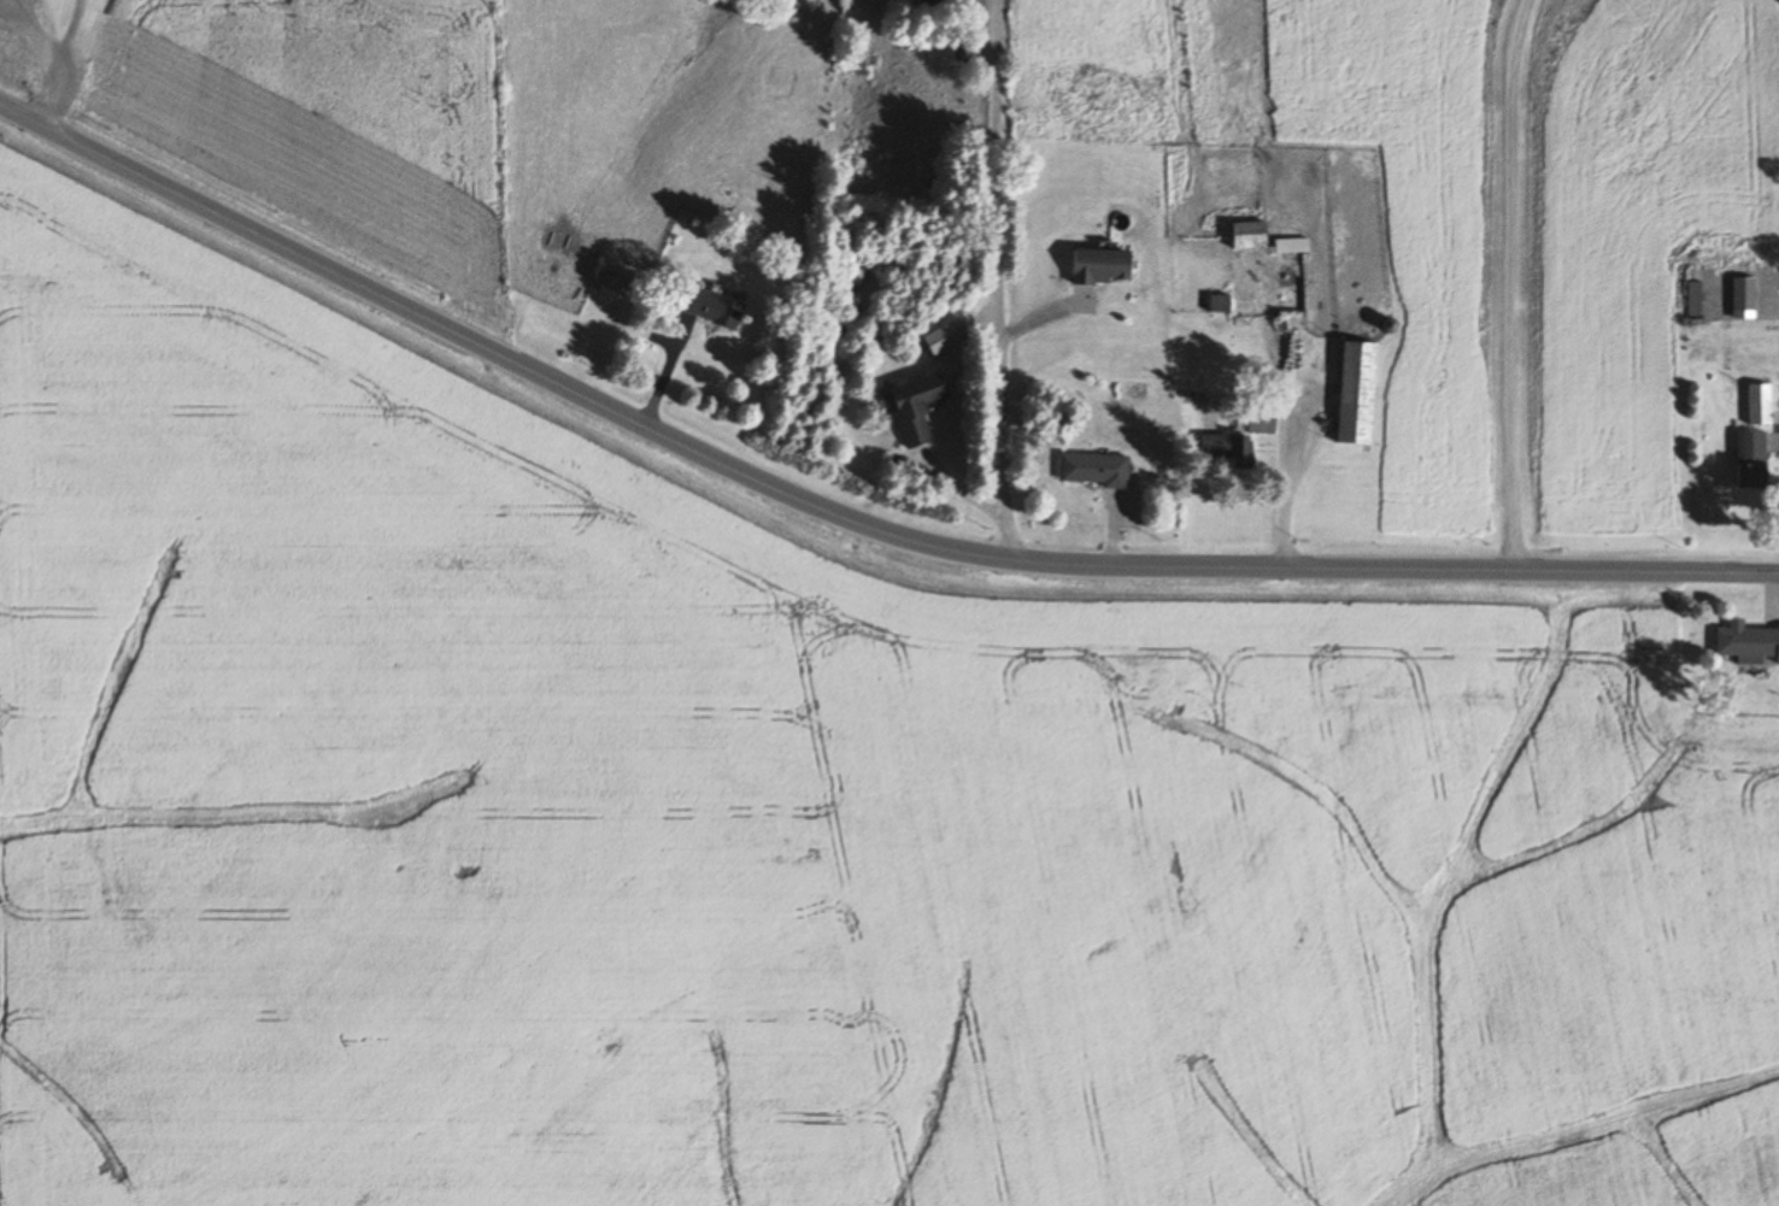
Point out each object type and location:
building: (929, 5)
road: (54, 59)
building: (1253, 235)
building: (1105, 265)
building: (617, 275)
road: (1000, 280)
building: (1291, 282)
road: (1507, 284)
building: (1745, 298)
building: (715, 306)
building: (1361, 393)
building: (1762, 404)
building: (918, 405)
building: (1241, 440)
building: (1754, 460)
building: (1097, 469)
road: (1282, 487)
road: (844, 517)
building: (1749, 643)

